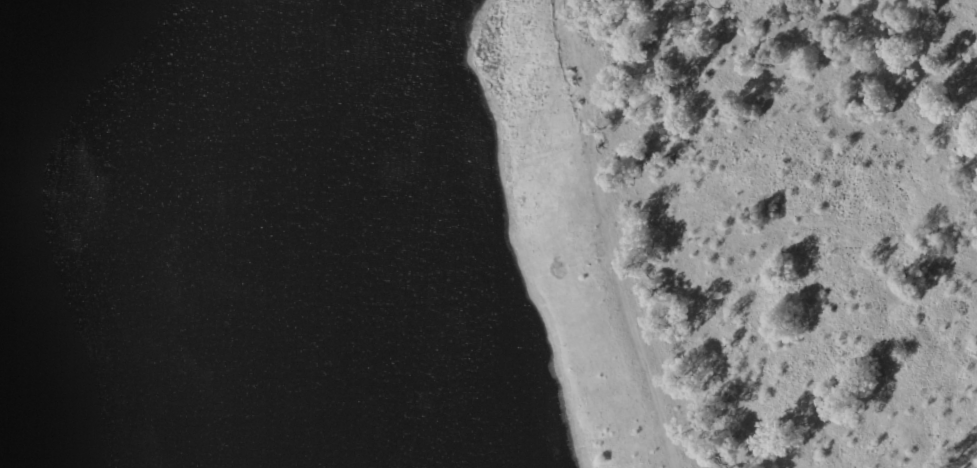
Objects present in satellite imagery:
building: (429, 71)
building: (424, 81)
road: (604, 236)
quarry: (325, 243)

